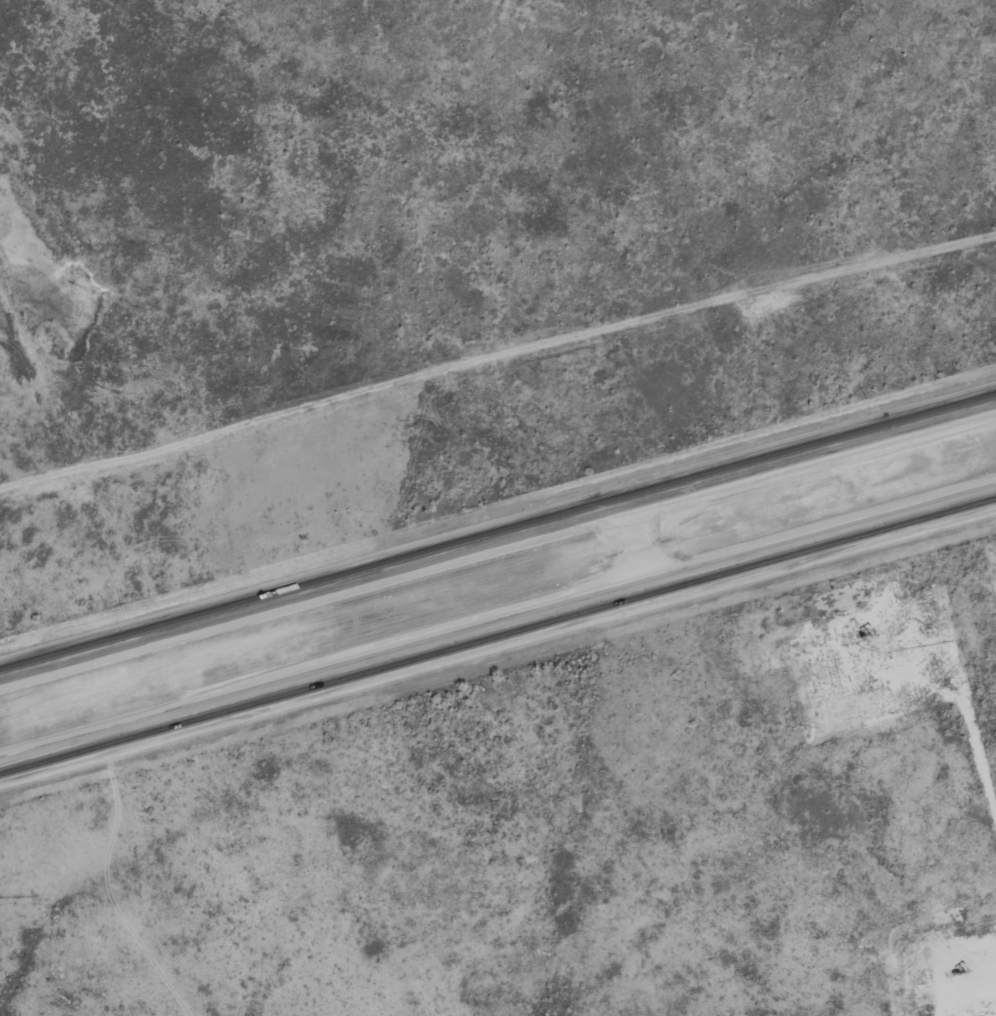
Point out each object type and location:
road: (497, 537)
road: (637, 543)
road: (497, 626)
road: (954, 689)

